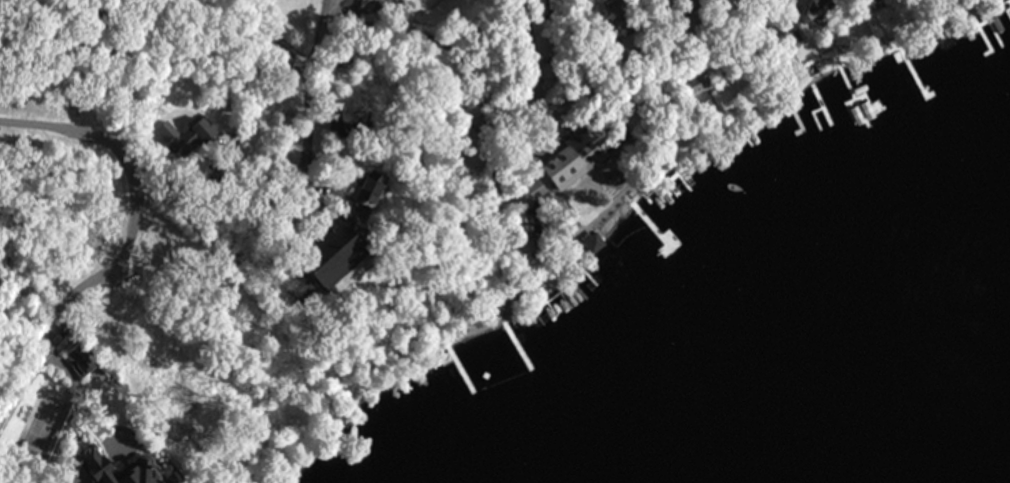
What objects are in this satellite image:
building: (863, 2)
building: (810, 8)
building: (776, 36)
road: (532, 74)
building: (693, 82)
road: (274, 87)
building: (335, 124)
road: (85, 131)
building: (163, 132)
road: (304, 150)
building: (575, 156)
building: (365, 187)
road: (605, 211)
building: (521, 225)
building: (316, 261)
road: (67, 304)
building: (164, 375)
building: (163, 418)
building: (90, 468)

